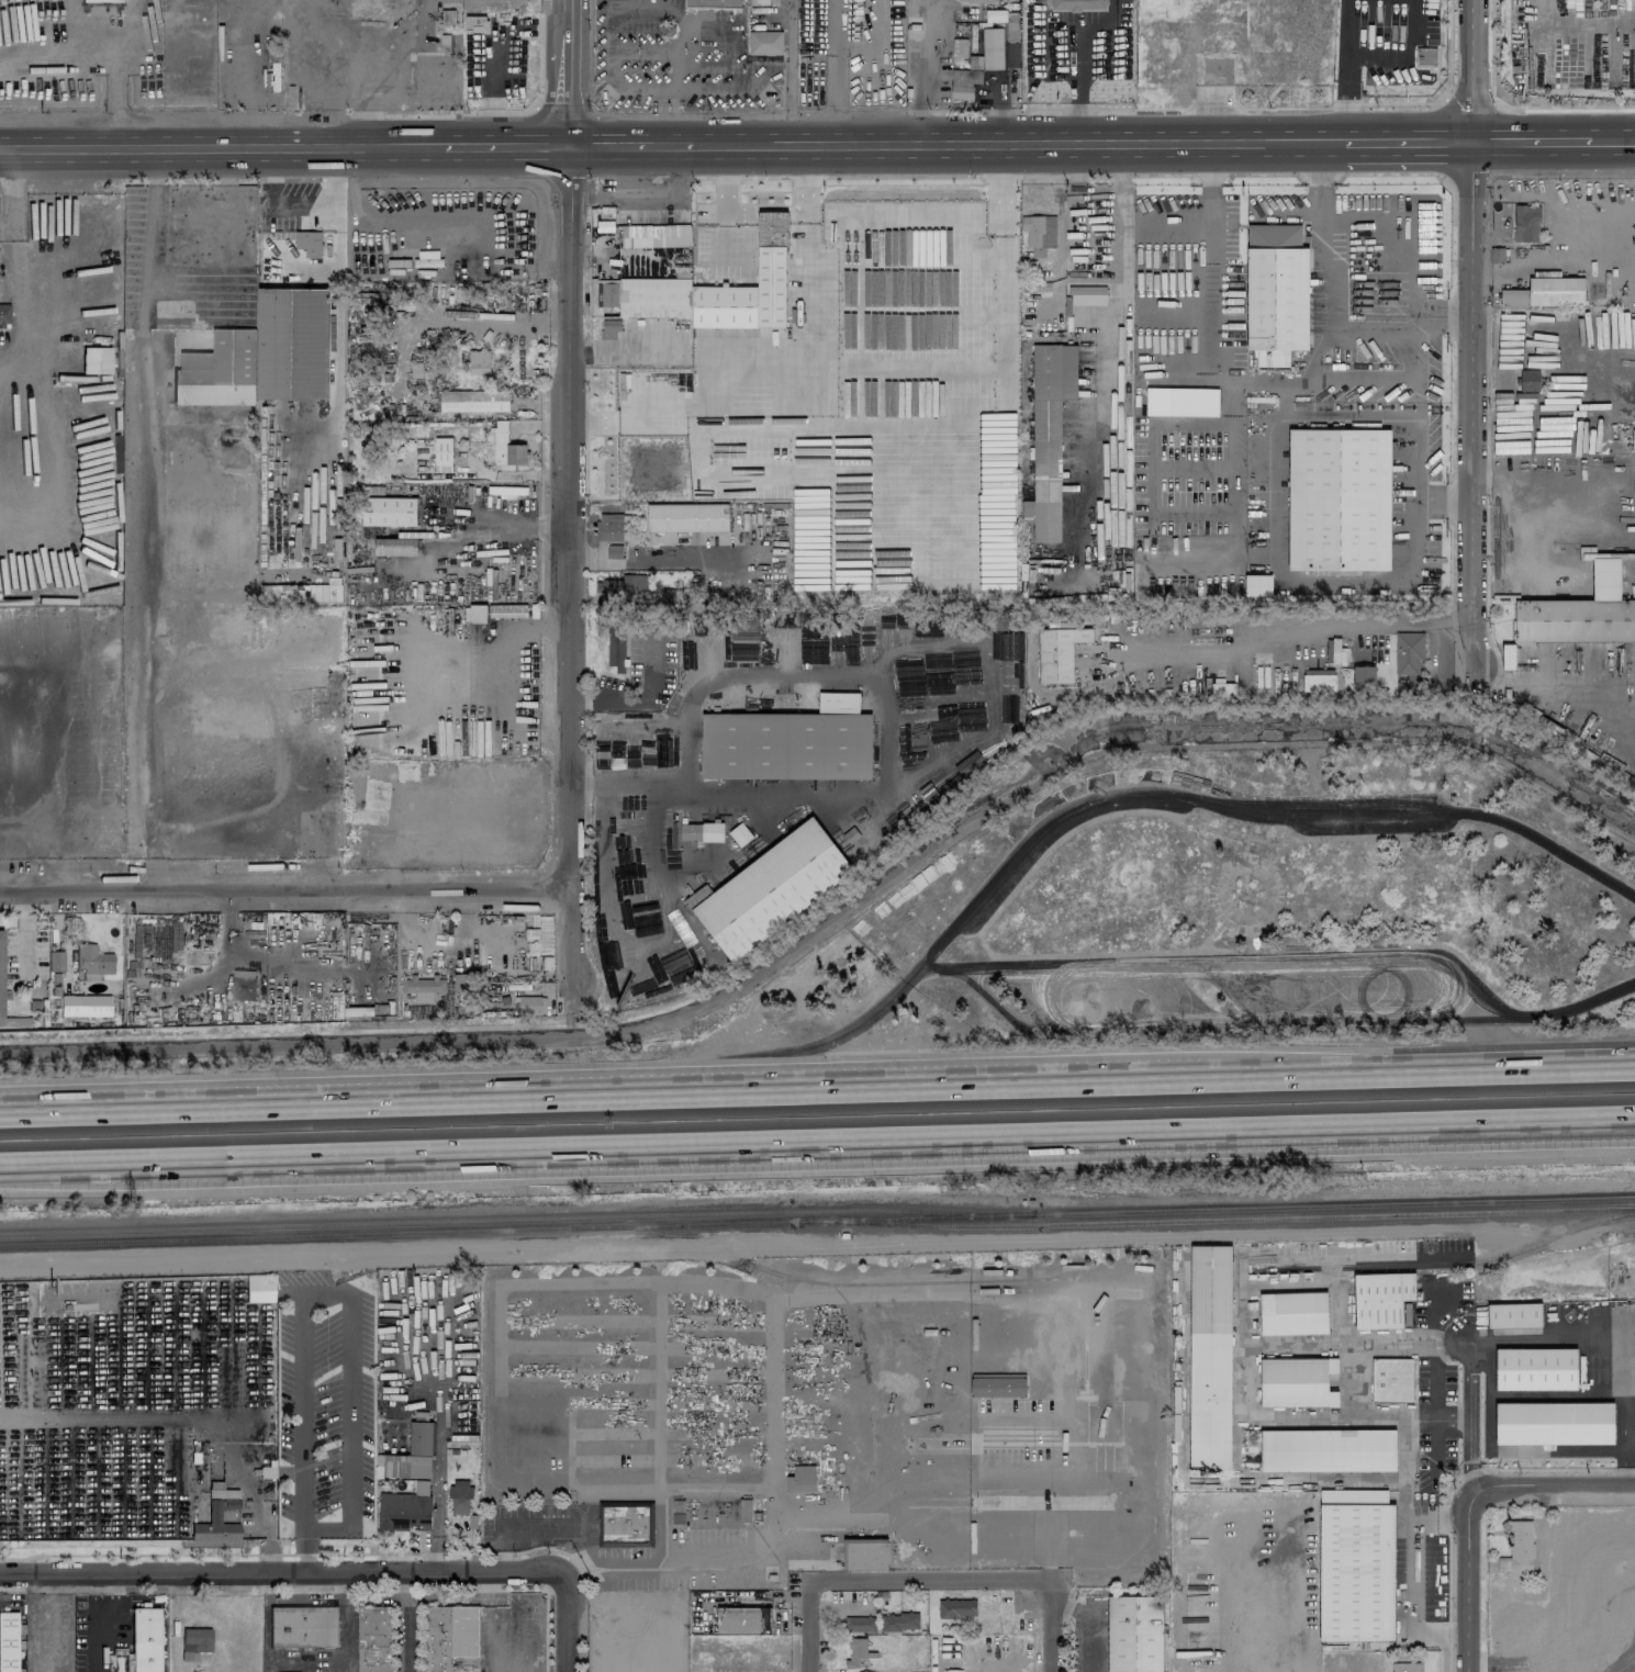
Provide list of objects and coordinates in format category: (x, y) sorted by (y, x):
building: (101, 0)
building: (758, 2)
building: (712, 3)
building: (1077, 4)
building: (995, 15)
building: (475, 24)
road: (1050, 25)
road: (1108, 25)
road: (1575, 25)
building: (1147, 32)
building: (992, 48)
road: (337, 49)
building: (959, 49)
building: (1425, 56)
building: (974, 61)
road: (918, 70)
road: (1478, 70)
road: (572, 71)
road: (836, 71)
building: (1164, 72)
building: (272, 78)
building: (963, 83)
road: (1079, 83)
road: (114, 89)
road: (667, 91)
road: (491, 92)
road: (1535, 141)
road: (1613, 141)
road: (1412, 142)
road: (629, 143)
road: (1017, 143)
road: (507, 144)
road: (222, 146)
road: (1317, 161)
road: (1209, 162)
road: (727, 202)
road: (385, 215)
road: (13, 221)
building: (1525, 223)
building: (1039, 233)
building: (656, 236)
building: (307, 243)
building: (771, 248)
road: (808, 283)
building: (1545, 292)
building: (1275, 294)
road: (1380, 313)
building: (4, 314)
road: (1459, 315)
building: (609, 329)
road: (1113, 348)
building: (262, 355)
building: (96, 360)
building: (478, 361)
building: (1527, 380)
building: (473, 401)
road: (1477, 403)
road: (1296, 409)
road: (931, 424)
building: (1048, 436)
building: (1633, 439)
building: (506, 447)
road: (516, 470)
building: (1339, 501)
road: (1205, 503)
building: (389, 512)
building: (687, 517)
road: (146, 518)
building: (612, 527)
building: (395, 547)
building: (614, 551)
road: (653, 560)
road: (573, 563)
building: (623, 585)
building: (1257, 585)
building: (668, 596)
building: (507, 610)
building: (477, 613)
building: (1580, 613)
road: (1458, 622)
road: (1273, 627)
building: (1064, 635)
building: (616, 646)
road: (945, 648)
building: (1408, 652)
building: (1508, 657)
building: (1363, 678)
building: (1318, 681)
building: (1222, 689)
road: (1552, 689)
road: (43, 710)
building: (789, 742)
road: (21, 785)
road: (254, 797)
road: (1239, 810)
building: (333, 829)
building: (701, 832)
building: (739, 834)
road: (40, 839)
road: (287, 888)
building: (770, 889)
road: (30, 933)
road: (653, 957)
building: (93, 960)
building: (55, 961)
road: (1192, 964)
building: (1, 973)
building: (461, 981)
building: (243, 985)
building: (423, 989)
road: (1042, 995)
building: (85, 1005)
building: (528, 1005)
road: (1545, 1012)
road: (1206, 1026)
road: (763, 1064)
road: (817, 1097)
road: (871, 1140)
road: (54, 1163)
railway: (1334, 1205)
railway: (911, 1217)
railway: (516, 1219)
railway: (1212, 1220)
railway: (394, 1233)
railway: (1626, 1233)
railway: (1448, 1264)
railway: (918, 1282)
building: (259, 1287)
road: (326, 1293)
building: (1381, 1299)
building: (1292, 1313)
building: (1513, 1315)
building: (1210, 1356)
building: (1535, 1369)
road: (1254, 1379)
building: (1391, 1380)
building: (1297, 1382)
building: (997, 1384)
road: (1475, 1413)
building: (1554, 1423)
road: (1627, 1443)
building: (1328, 1450)
building: (408, 1455)
building: (800, 1479)
road: (1553, 1485)
building: (459, 1497)
building: (404, 1508)
building: (712, 1510)
building: (217, 1520)
building: (626, 1523)
road: (772, 1542)
building: (1518, 1548)
building: (865, 1555)
building: (1356, 1566)
road: (282, 1570)
road: (1413, 1572)
road: (929, 1576)
road: (1471, 1579)
building: (956, 1608)
building: (83, 1619)
building: (743, 1620)
road: (405, 1621)
road: (565, 1621)
building: (881, 1623)
building: (302, 1626)
road: (1052, 1627)
road: (813, 1632)
building: (1134, 1634)
building: (450, 1637)
building: (145, 1639)
building: (374, 1639)
building: (8, 1641)
building: (194, 1642)
road: (1296, 1646)
building: (855, 1652)
building: (1404, 1667)

